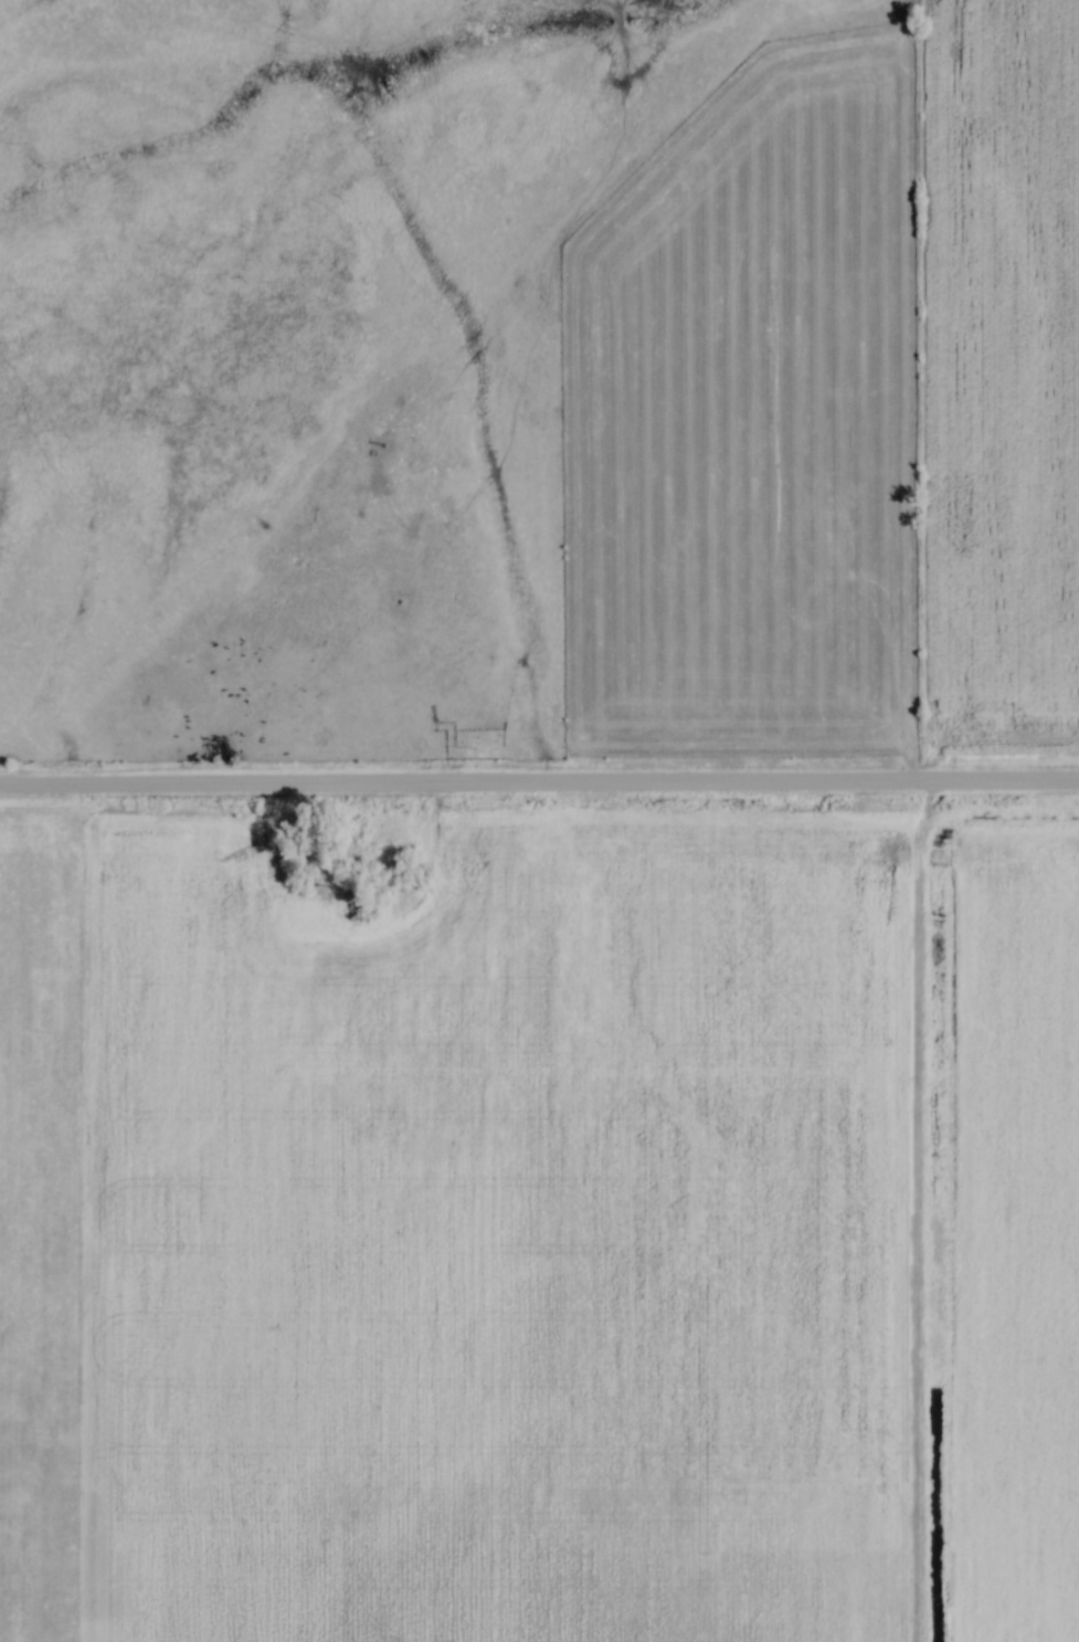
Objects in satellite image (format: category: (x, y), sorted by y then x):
road: (539, 789)

